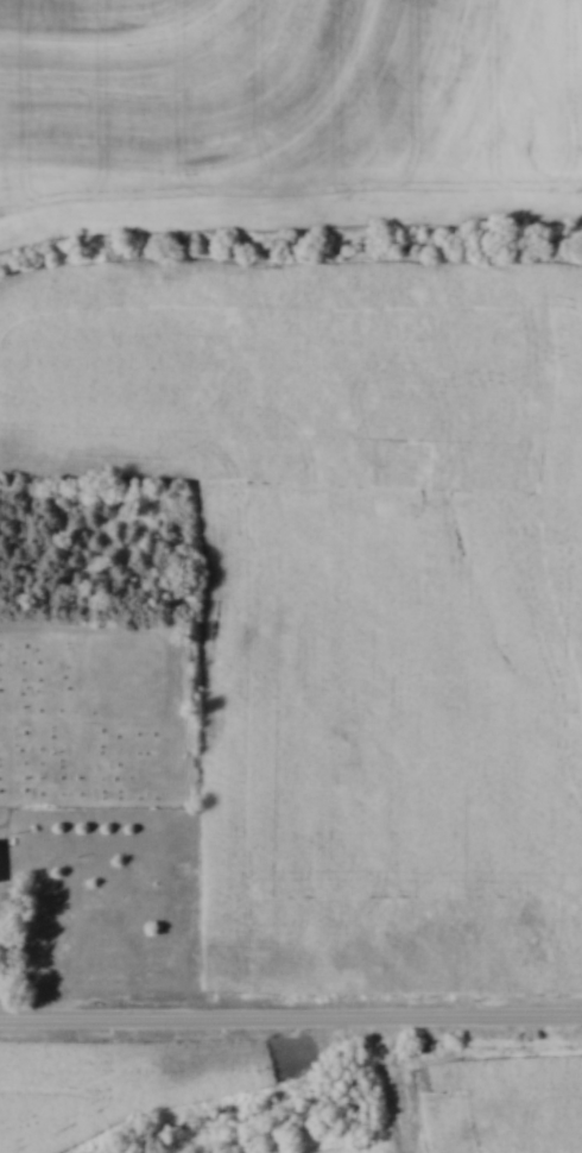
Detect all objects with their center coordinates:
building: (1, 859)
road: (291, 1022)
road: (382, 1088)

